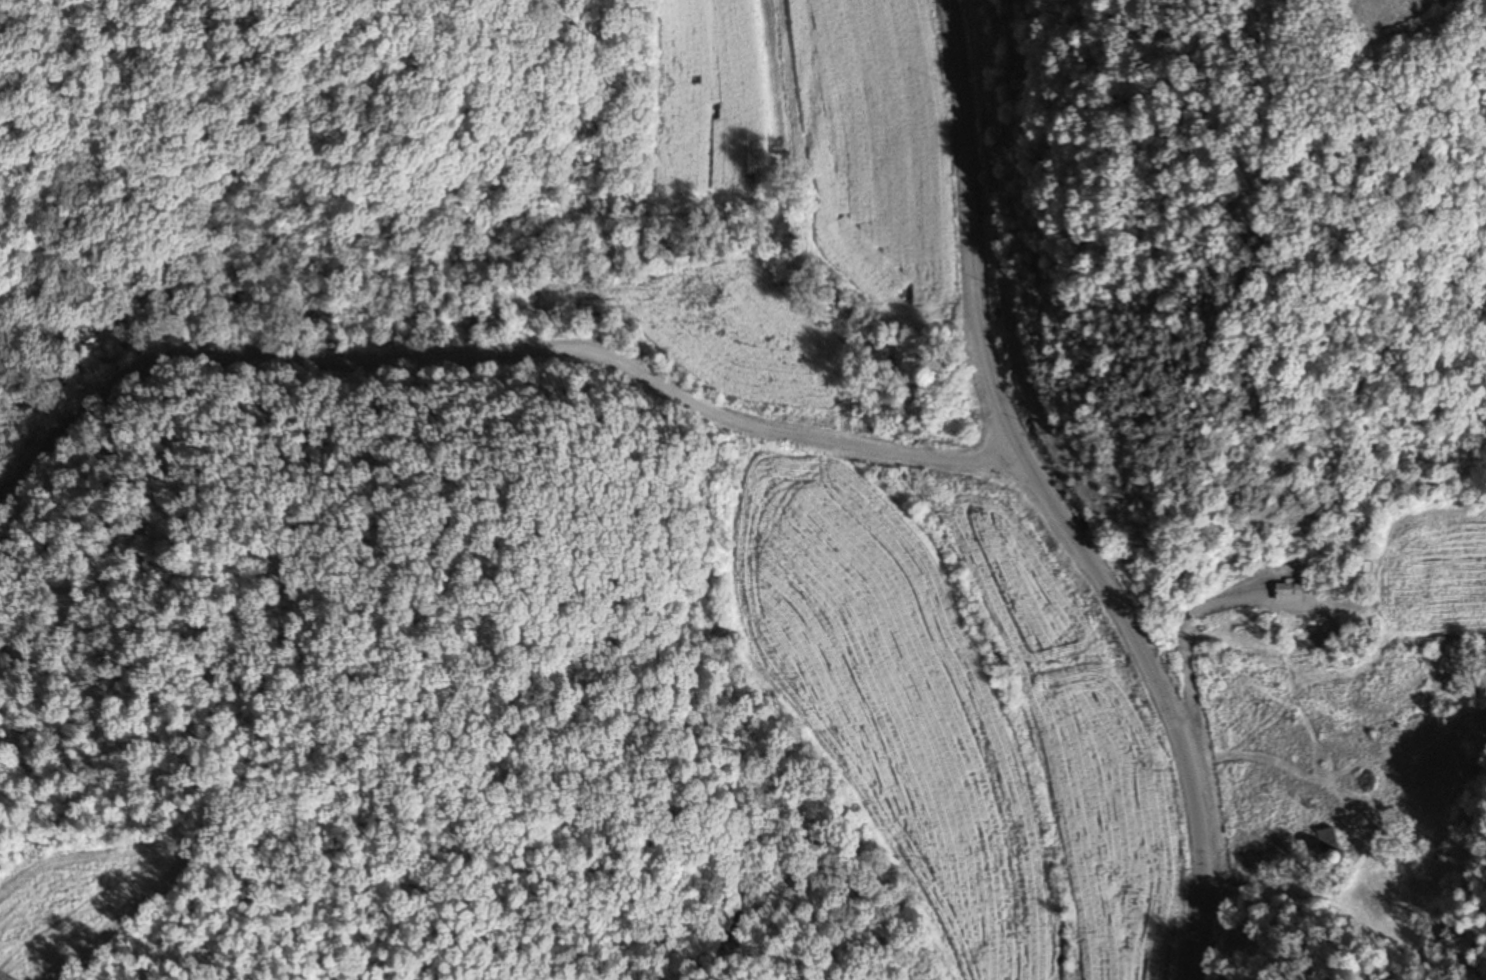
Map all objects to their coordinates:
road: (477, 410)
road: (1029, 495)
building: (1328, 845)

